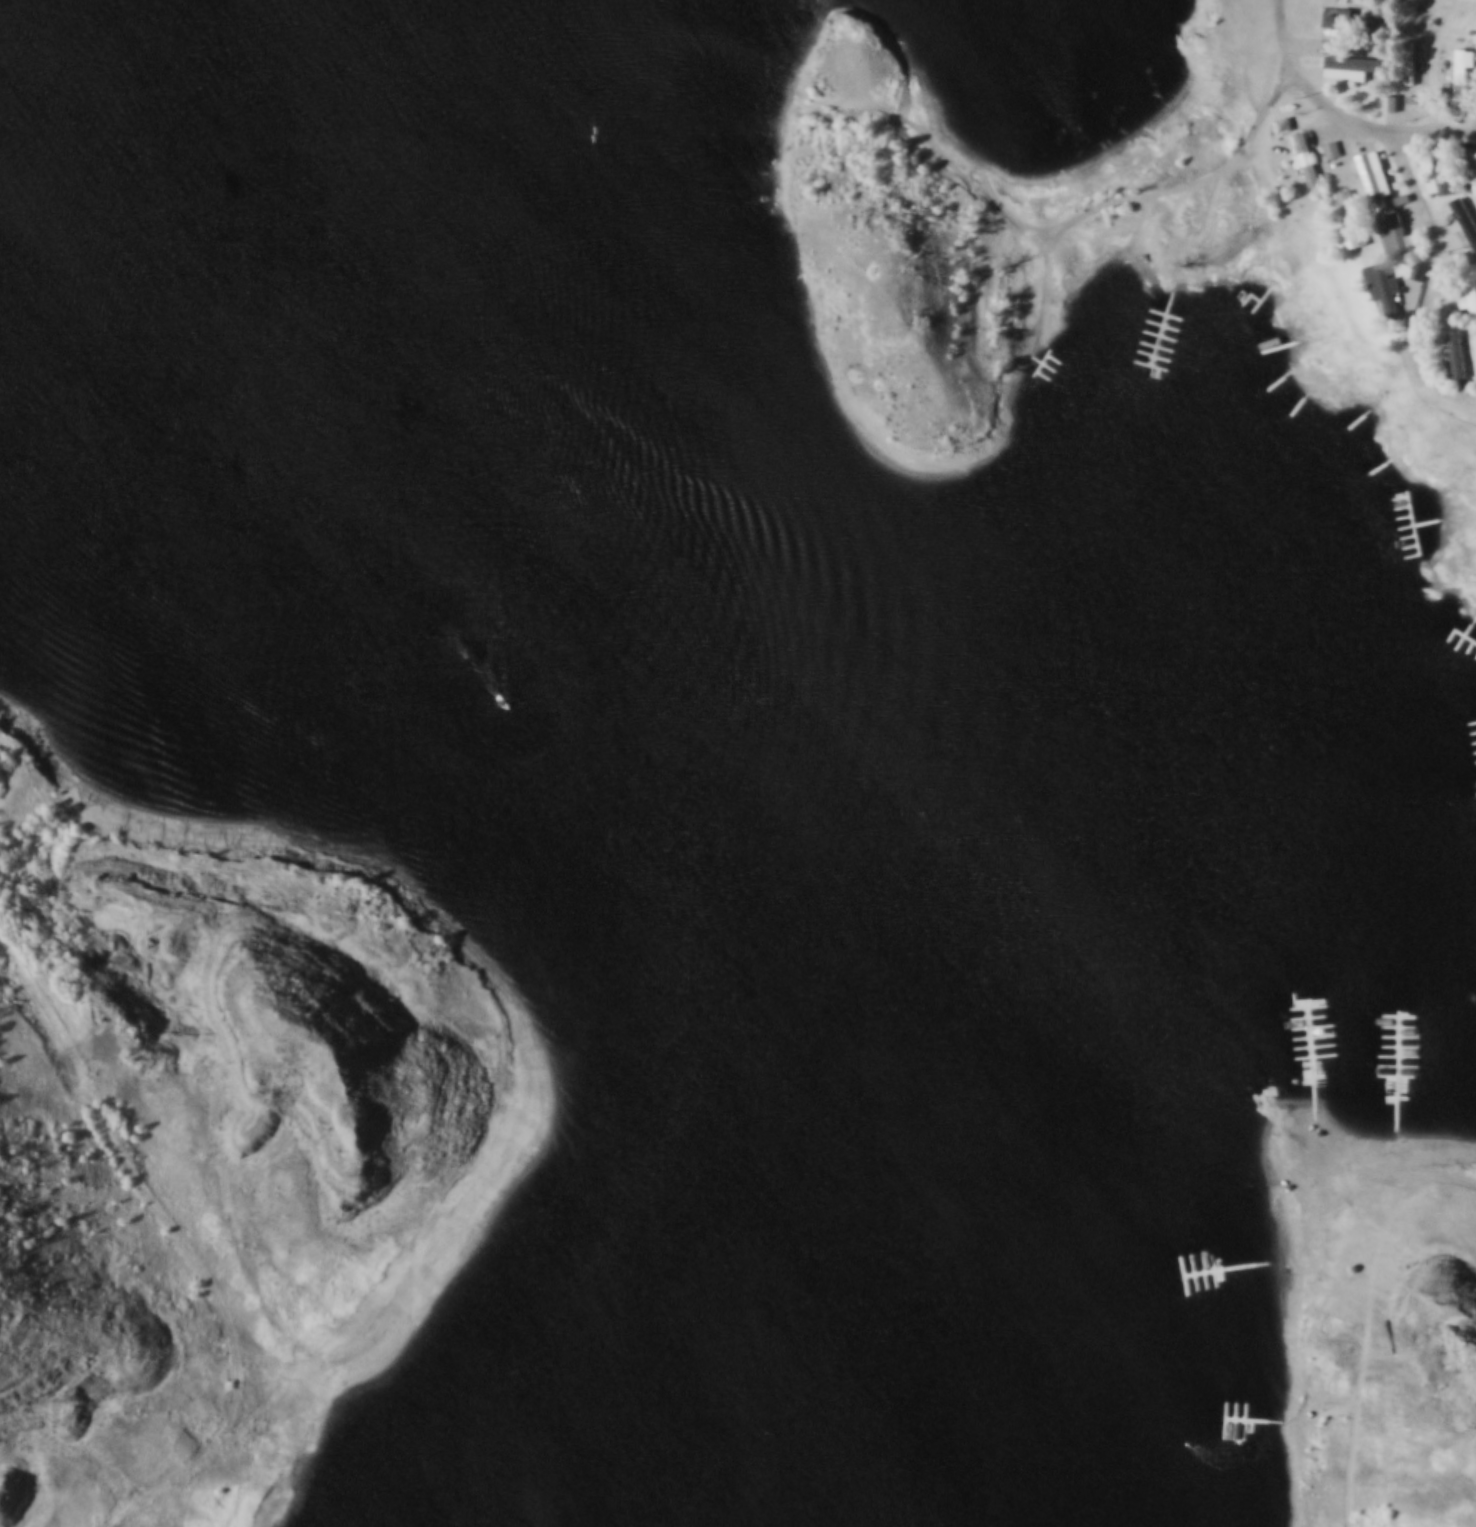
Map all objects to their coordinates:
building: (1362, 1)
building: (1357, 18)
building: (1348, 24)
building: (1380, 26)
building: (1351, 59)
building: (1408, 59)
building: (1378, 65)
building: (1462, 67)
building: (1410, 94)
building: (1389, 98)
road: (1342, 116)
building: (1283, 120)
building: (1332, 144)
building: (1305, 155)
building: (1470, 165)
building: (1432, 179)
building: (1376, 184)
building: (1346, 198)
building: (1467, 215)
road: (1063, 216)
building: (1396, 233)
building: (1418, 266)
building: (1465, 281)
building: (1415, 282)
road: (1432, 283)
building: (1386, 284)
pier: (1120, 338)
building: (1457, 351)
road: (350, 815)
pier: (1292, 1015)
pier: (1376, 1036)
road: (134, 1173)
road: (443, 1300)
road: (482, 1368)
road: (220, 1447)

